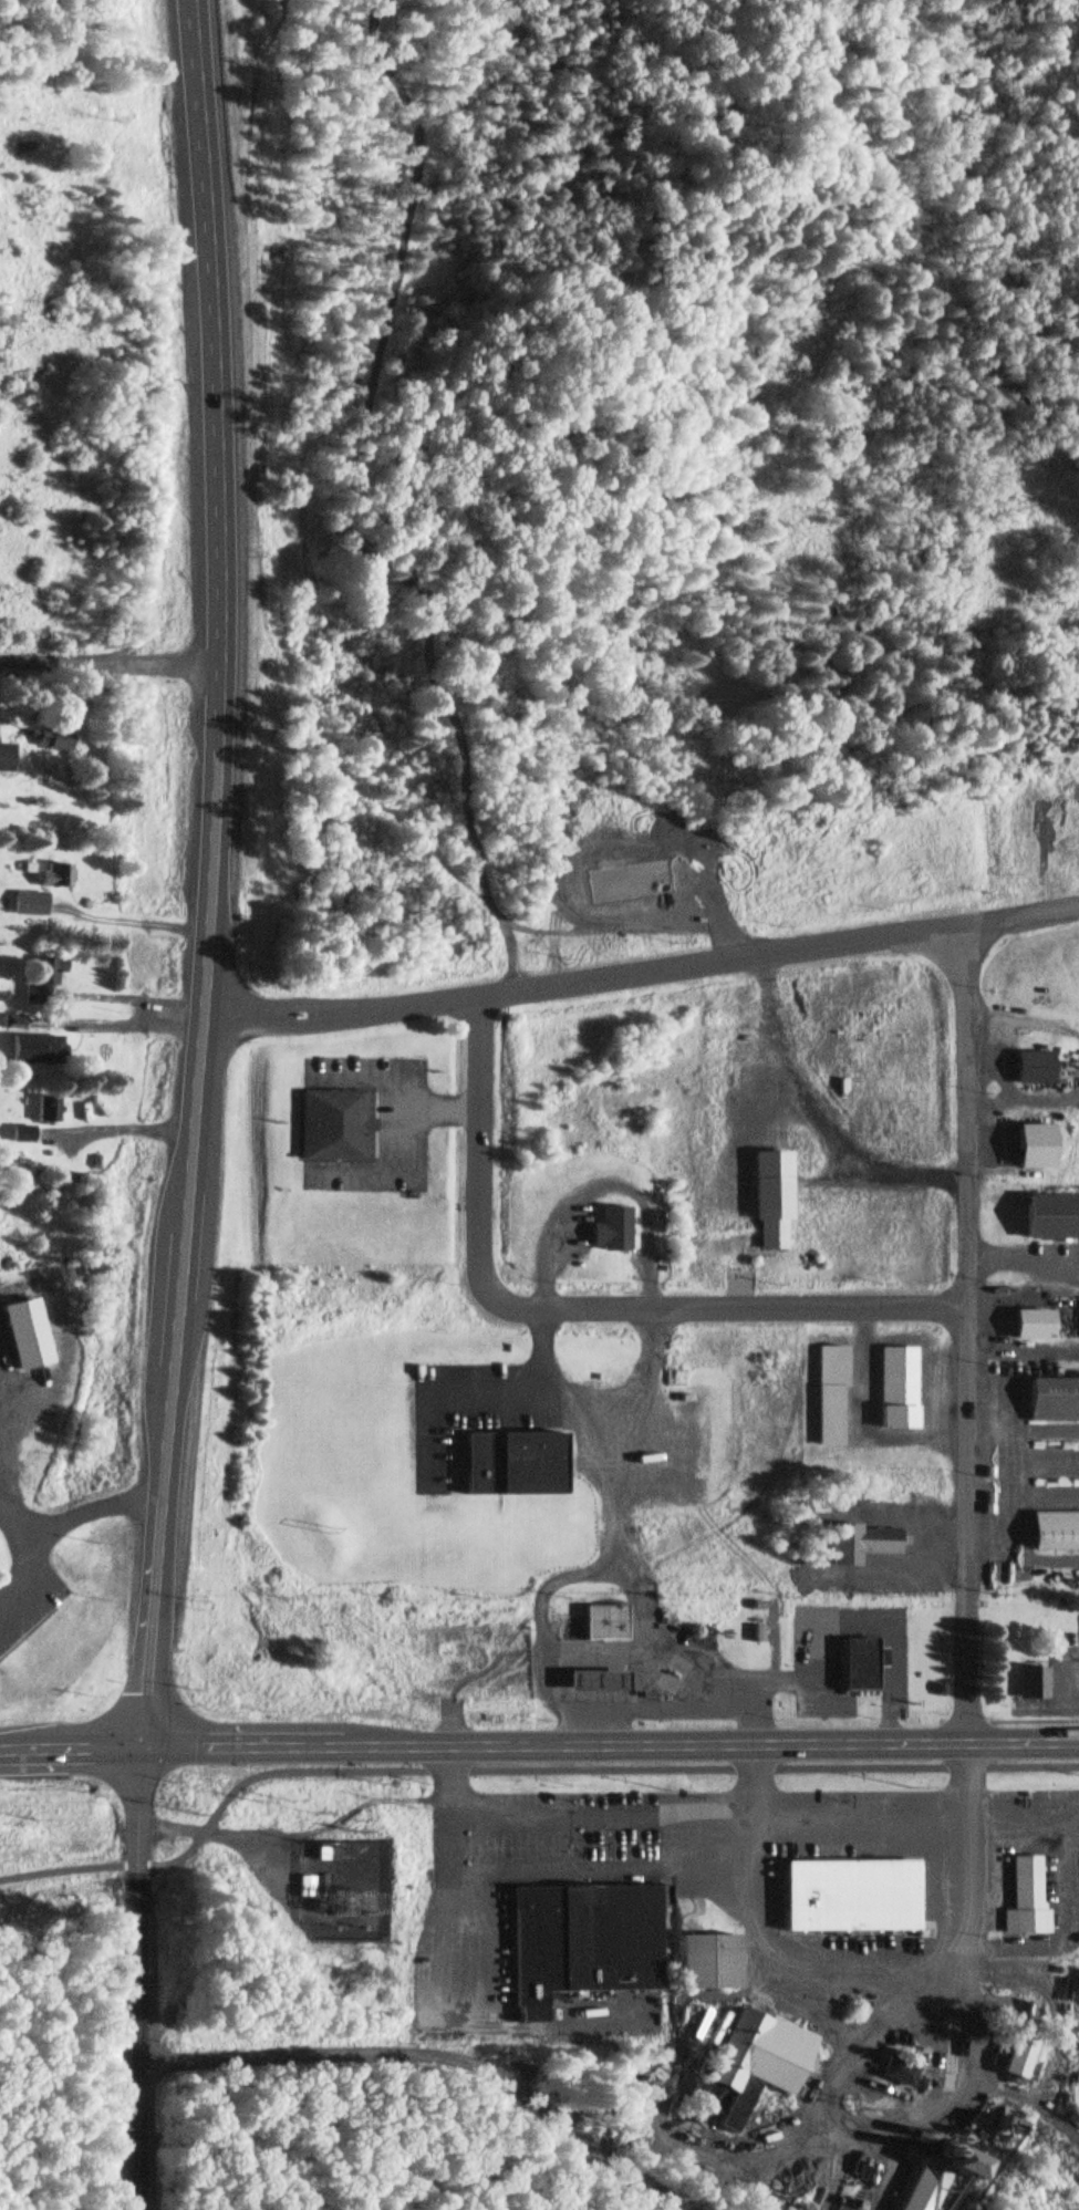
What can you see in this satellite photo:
road: (110, 671)
building: (45, 741)
building: (3, 758)
road: (208, 874)
building: (49, 876)
building: (22, 904)
road: (1019, 916)
building: (40, 978)
road: (582, 981)
building: (10, 1026)
building: (42, 1051)
building: (1029, 1068)
building: (45, 1110)
building: (334, 1128)
building: (20, 1135)
building: (1029, 1146)
building: (1049, 1216)
building: (610, 1231)
road: (575, 1306)
building: (1028, 1326)
building: (22, 1336)
road: (964, 1338)
building: (1050, 1388)
building: (896, 1390)
building: (829, 1398)
building: (507, 1464)
road: (42, 1532)
building: (1051, 1533)
building: (860, 1544)
building: (604, 1623)
building: (858, 1667)
building: (592, 1681)
gas station: (592, 1681)
building: (1029, 1683)
road: (610, 1745)
road: (70, 1750)
road: (518, 1772)
power tower: (362, 1880)
building: (304, 1887)
building: (845, 1889)
power substation: (347, 1890)
power tower: (324, 1892)
building: (1023, 1901)
building: (582, 1938)
building: (701, 1963)
road: (139, 1979)
building: (1077, 1984)
building: (1011, 2057)
building: (747, 2066)
building: (894, 2072)
building: (999, 2125)

